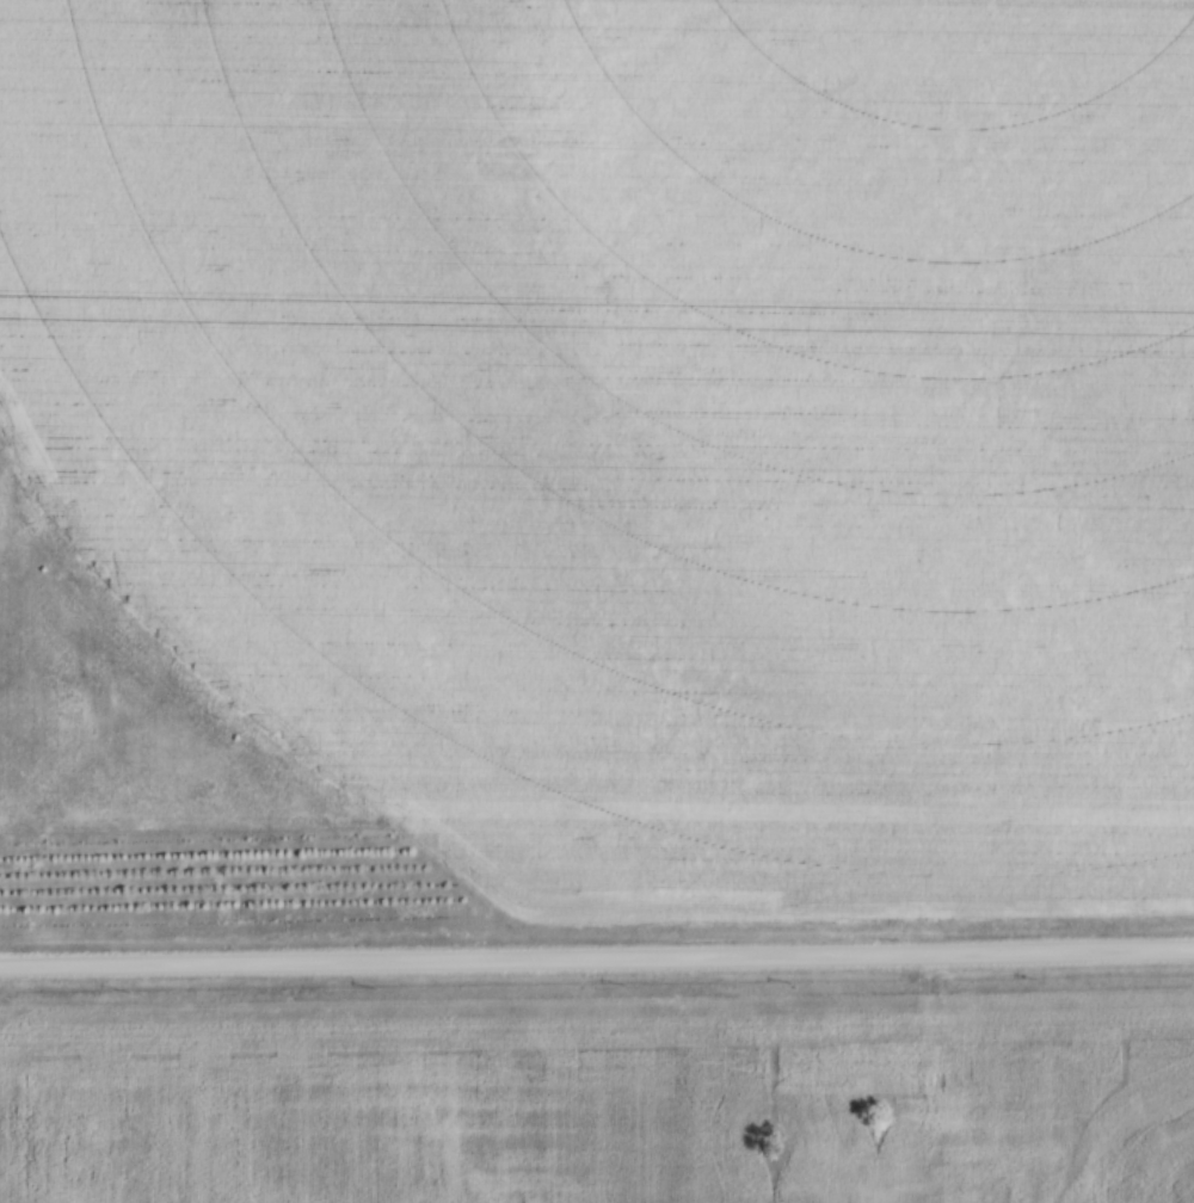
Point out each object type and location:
road: (597, 956)

